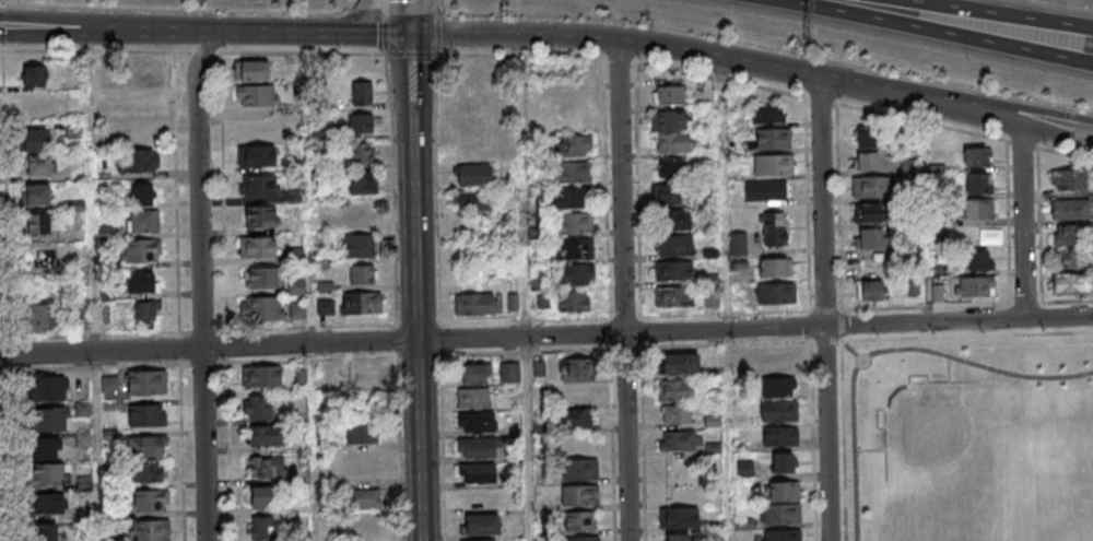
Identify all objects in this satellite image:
road: (436, 8)
road: (384, 9)
road: (1004, 12)
road: (27, 15)
road: (412, 16)
road: (354, 20)
road: (141, 24)
road: (944, 31)
road: (114, 33)
road: (320, 33)
road: (438, 35)
road: (384, 36)
road: (671, 47)
road: (208, 48)
road: (1, 51)
road: (111, 52)
road: (418, 56)
building: (140, 70)
building: (251, 70)
building: (35, 75)
building: (362, 93)
building: (257, 95)
building: (669, 95)
building: (469, 98)
building: (569, 101)
building: (140, 102)
building: (37, 103)
road: (1010, 105)
building: (768, 114)
building: (668, 121)
road: (1009, 122)
building: (361, 124)
building: (469, 125)
building: (140, 130)
building: (773, 138)
building: (867, 138)
building: (33, 140)
building: (673, 144)
building: (572, 145)
building: (356, 153)
building: (256, 155)
building: (976, 156)
building: (137, 161)
building: (866, 161)
building: (774, 164)
building: (36, 165)
building: (908, 167)
building: (671, 168)
building: (573, 172)
building: (472, 175)
building: (1069, 179)
building: (362, 183)
building: (978, 183)
building: (258, 185)
building: (871, 188)
building: (765, 190)
building: (36, 195)
building: (141, 195)
building: (667, 195)
building: (572, 197)
building: (470, 200)
road: (395, 205)
building: (1072, 208)
road: (200, 209)
building: (978, 209)
building: (357, 212)
building: (867, 214)
building: (261, 216)
building: (141, 221)
building: (677, 221)
building: (37, 223)
building: (573, 223)
road: (1024, 223)
building: (773, 227)
road: (809, 235)
building: (870, 238)
building: (738, 243)
building: (672, 245)
building: (257, 246)
building: (359, 246)
building: (1071, 247)
building: (574, 248)
building: (142, 250)
building: (978, 260)
building: (775, 267)
building: (32, 268)
building: (673, 270)
building: (363, 274)
road: (439, 274)
building: (574, 274)
building: (261, 278)
building: (142, 282)
building: (1071, 283)
building: (974, 285)
road: (418, 286)
road: (625, 290)
building: (870, 291)
building: (778, 293)
road: (9, 296)
road: (179, 296)
building: (673, 296)
building: (538, 298)
road: (726, 298)
building: (573, 301)
building: (361, 303)
building: (474, 304)
road: (825, 307)
building: (262, 308)
building: (146, 310)
building: (297, 310)
road: (863, 310)
road: (726, 315)
building: (40, 316)
road: (622, 319)
road: (225, 332)
road: (967, 336)
road: (546, 337)
road: (4, 339)
road: (886, 349)
road: (851, 350)
road: (443, 356)
building: (680, 364)
road: (198, 365)
building: (577, 369)
building: (508, 372)
building: (473, 374)
building: (261, 376)
road: (948, 377)
building: (146, 381)
building: (364, 385)
building: (50, 387)
building: (778, 387)
building: (674, 390)
building: (577, 396)
building: (472, 398)
building: (259, 407)
building: (779, 411)
building: (677, 414)
building: (146, 415)
building: (49, 419)
building: (577, 419)
building: (475, 422)
road: (843, 423)
road: (399, 426)
building: (362, 434)
building: (265, 435)
building: (779, 436)
road: (528, 438)
building: (680, 439)
park: (971, 439)
road: (811, 440)
road: (314, 443)
road: (205, 444)
building: (149, 445)
building: (475, 447)
building: (48, 448)
road: (875, 449)
park: (961, 456)
building: (783, 462)
building: (362, 464)
building: (267, 466)
building: (579, 469)
building: (150, 471)
building: (477, 472)
building: (50, 473)
building: (783, 491)
building: (261, 495)
building: (579, 495)
park: (1077, 496)
building: (365, 497)
building: (477, 498)
building: (151, 499)
building: (49, 503)
building: (780, 515)
building: (679, 517)
building: (579, 521)
building: (365, 524)
building: (480, 525)
building: (262, 528)
building: (150, 530)
building: (43, 532)
building: (781, 534)
building: (678, 537)
building: (581, 539)

